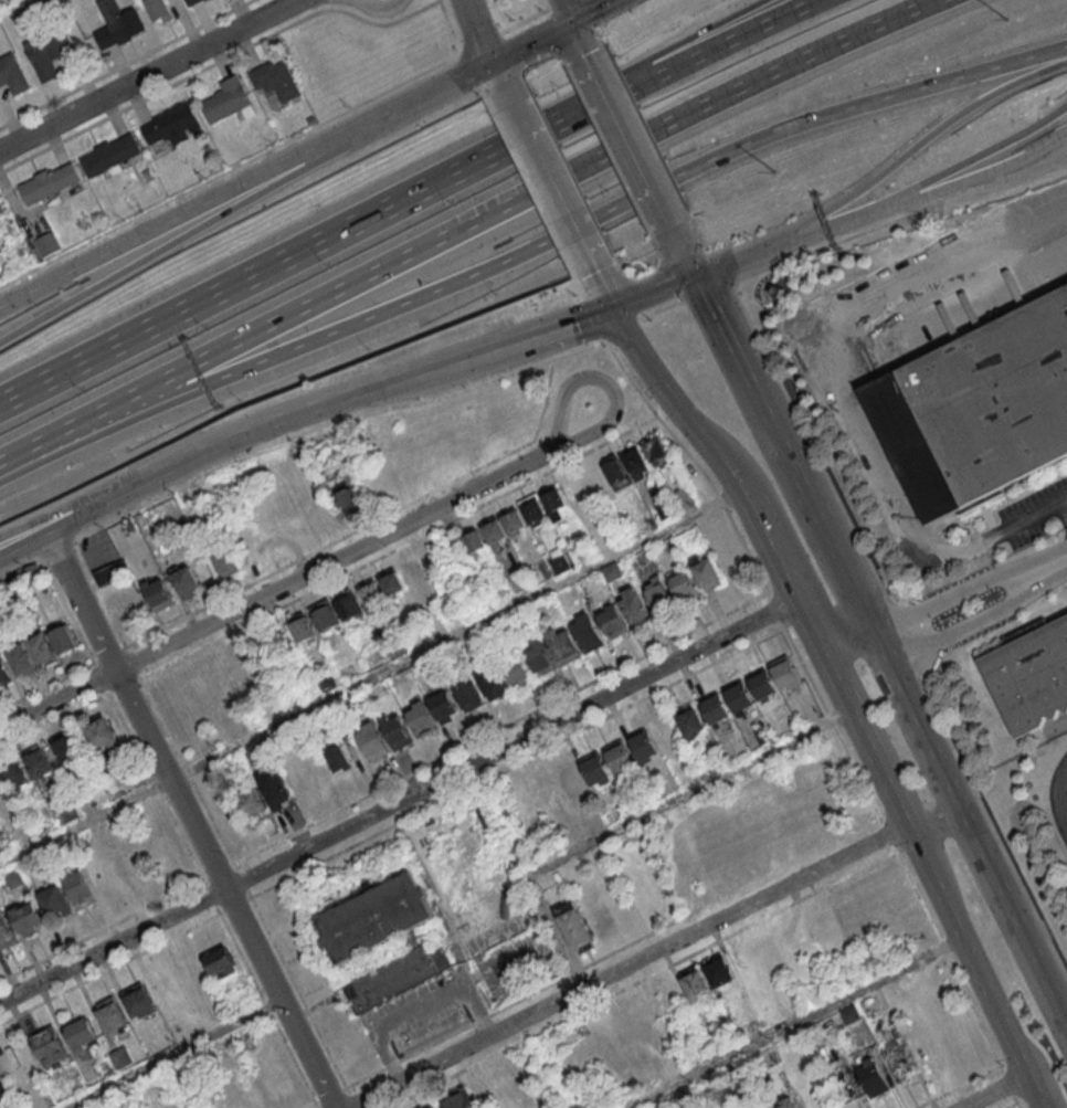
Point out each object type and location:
building: (191, 1)
park: (7, 3)
building: (159, 10)
road: (568, 10)
road: (592, 10)
traffic signals: (573, 20)
street lamp: (1008, 20)
building: (118, 23)
road: (533, 41)
road: (583, 41)
building: (49, 51)
road: (490, 52)
road: (663, 52)
road: (1061, 53)
road: (695, 59)
traffic signals: (495, 62)
building: (12, 74)
road: (150, 75)
building: (275, 80)
building: (228, 99)
road: (402, 108)
building: (172, 124)
road: (923, 138)
road: (634, 146)
building: (110, 154)
road: (960, 163)
street lamp: (777, 172)
road: (960, 179)
building: (50, 182)
road: (556, 187)
road: (155, 224)
road: (463, 224)
road: (825, 226)
building: (47, 243)
road: (546, 243)
road: (158, 250)
road: (684, 252)
road: (747, 255)
road: (284, 258)
road: (931, 272)
traffic signals: (694, 275)
road: (605, 289)
road: (654, 291)
traffic signals: (615, 307)
road: (516, 344)
road: (606, 382)
road: (754, 397)
building: (995, 398)
road: (678, 405)
road: (314, 409)
building: (656, 450)
street lamp: (113, 455)
road: (855, 455)
building: (635, 462)
road: (693, 462)
road: (21, 466)
building: (614, 471)
road: (105, 488)
building: (347, 497)
building: (563, 497)
building: (683, 497)
road: (106, 504)
road: (1065, 505)
building: (664, 508)
building: (533, 509)
building: (493, 534)
road: (991, 536)
road: (775, 544)
road: (833, 552)
building: (558, 559)
road: (1063, 561)
building: (225, 562)
building: (718, 568)
building: (113, 571)
building: (543, 572)
building: (187, 581)
building: (391, 581)
road: (972, 581)
building: (684, 585)
building: (159, 592)
building: (370, 592)
road: (272, 593)
building: (657, 593)
building: (348, 603)
building: (133, 605)
building: (634, 605)
road: (774, 609)
road: (984, 613)
building: (325, 615)
building: (612, 621)
building: (303, 626)
building: (587, 632)
building: (65, 640)
road: (865, 643)
building: (562, 644)
building: (43, 650)
building: (539, 657)
building: (23, 659)
building: (516, 671)
building: (785, 672)
building: (4, 674)
road: (372, 675)
building: (1031, 676)
building: (492, 683)
building: (761, 684)
building: (468, 695)
building: (738, 696)
building: (444, 706)
building: (714, 708)
building: (421, 718)
road: (830, 721)
building: (691, 724)
building: (397, 730)
building: (103, 734)
building: (762, 735)
building: (371, 739)
building: (643, 746)
building: (70, 748)
building: (338, 758)
building: (619, 759)
building: (40, 761)
building: (596, 770)
building: (18, 774)
building: (572, 781)
building: (275, 788)
building: (3, 789)
building: (547, 794)
road: (1061, 796)
road: (400, 799)
building: (253, 802)
road: (955, 810)
road: (1065, 812)
road: (929, 813)
road: (193, 820)
road: (886, 833)
road: (588, 842)
road: (919, 851)
building: (77, 885)
building: (56, 898)
building: (647, 901)
building: (30, 915)
building: (574, 927)
building: (8, 930)
building: (382, 939)
road: (945, 957)
building: (221, 963)
road: (625, 965)
building: (718, 970)
building: (695, 982)
building: (140, 999)
building: (641, 1010)
building: (115, 1015)
road: (800, 1020)
road: (404, 1021)
building: (84, 1032)
building: (51, 1041)
road: (176, 1054)
building: (122, 1057)
building: (898, 1062)
building: (873, 1076)
building: (2, 1078)
road: (1006, 1083)
road: (994, 1091)
building: (456, 1099)
road: (1042, 1099)
building: (785, 1104)
road: (1008, 1105)
road: (1016, 1105)
building: (433, 1107)

